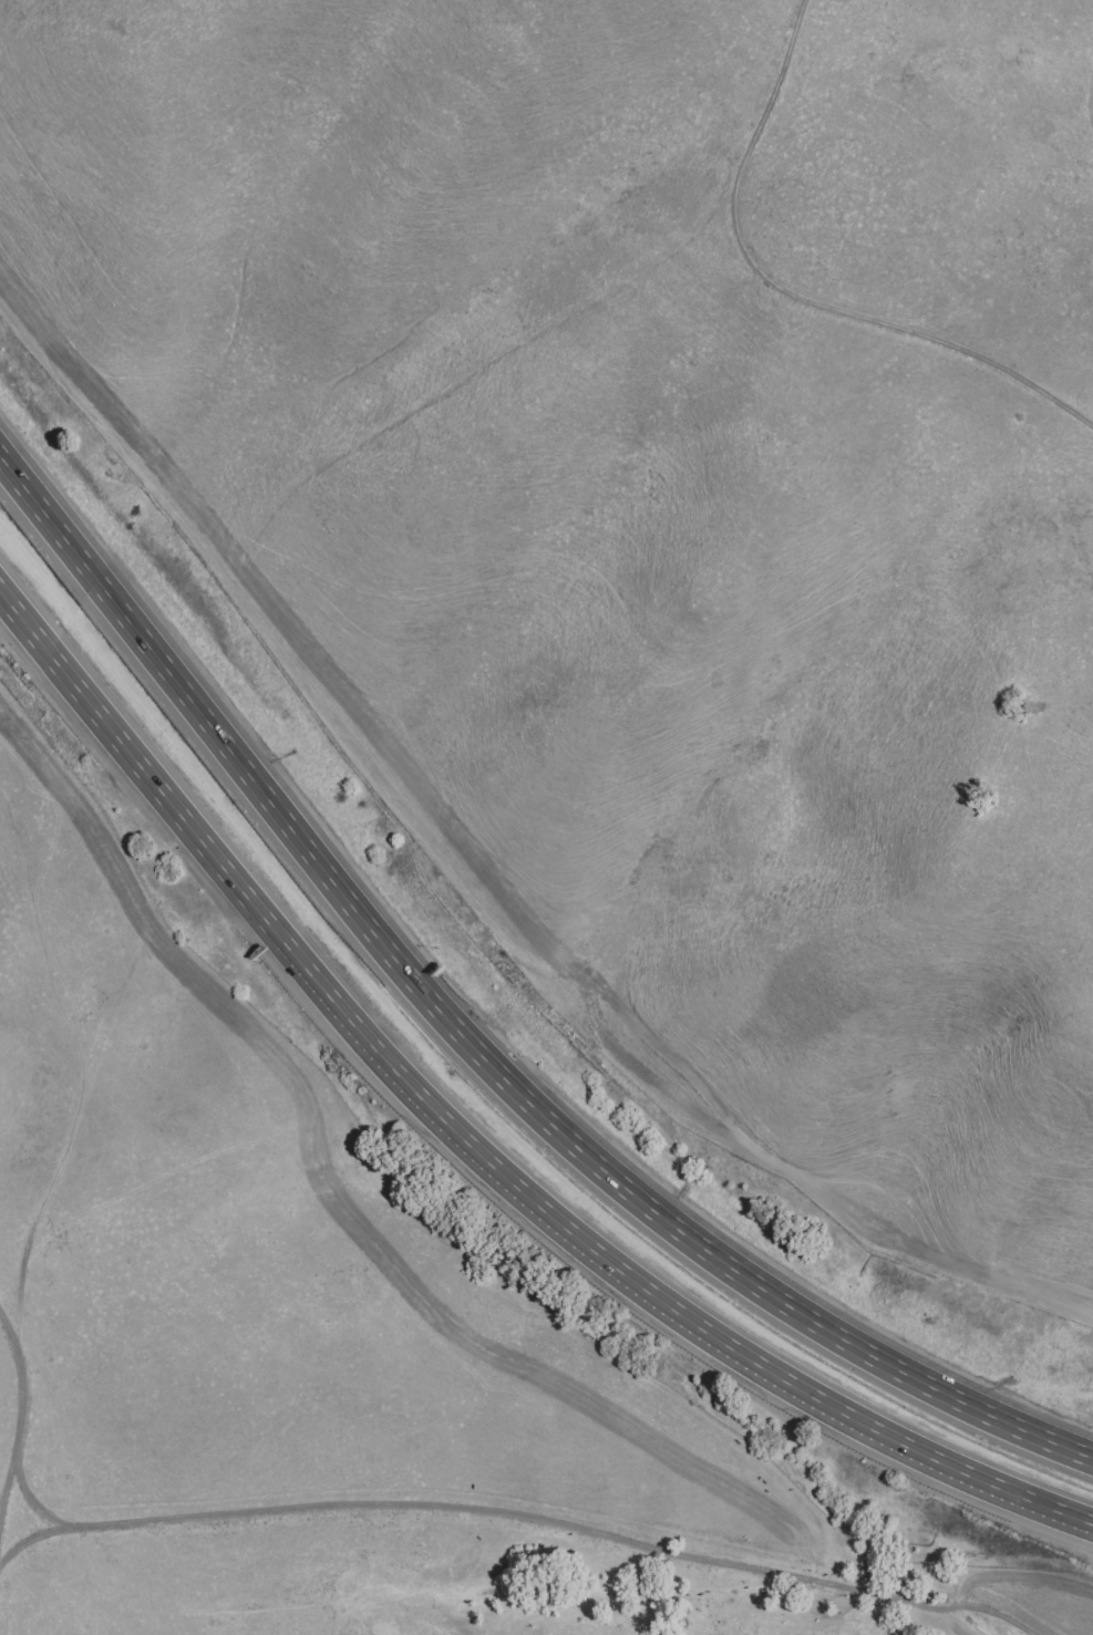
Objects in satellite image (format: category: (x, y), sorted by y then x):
road: (796, 290)
road: (471, 1044)
road: (475, 1141)
road: (60, 1153)
road: (19, 1426)
road: (3, 1502)
road: (507, 1528)

